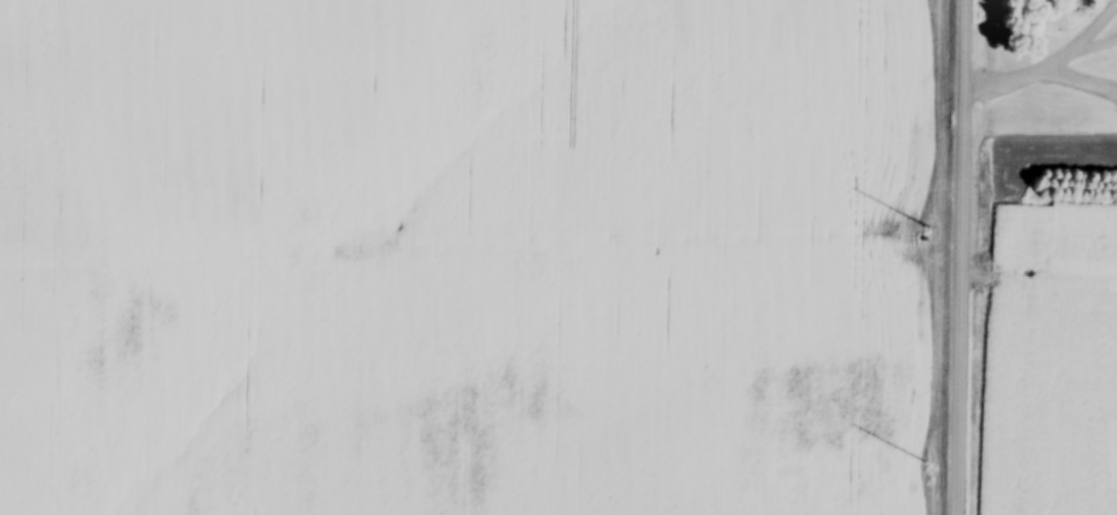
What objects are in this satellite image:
road: (1053, 65)
road: (963, 257)

